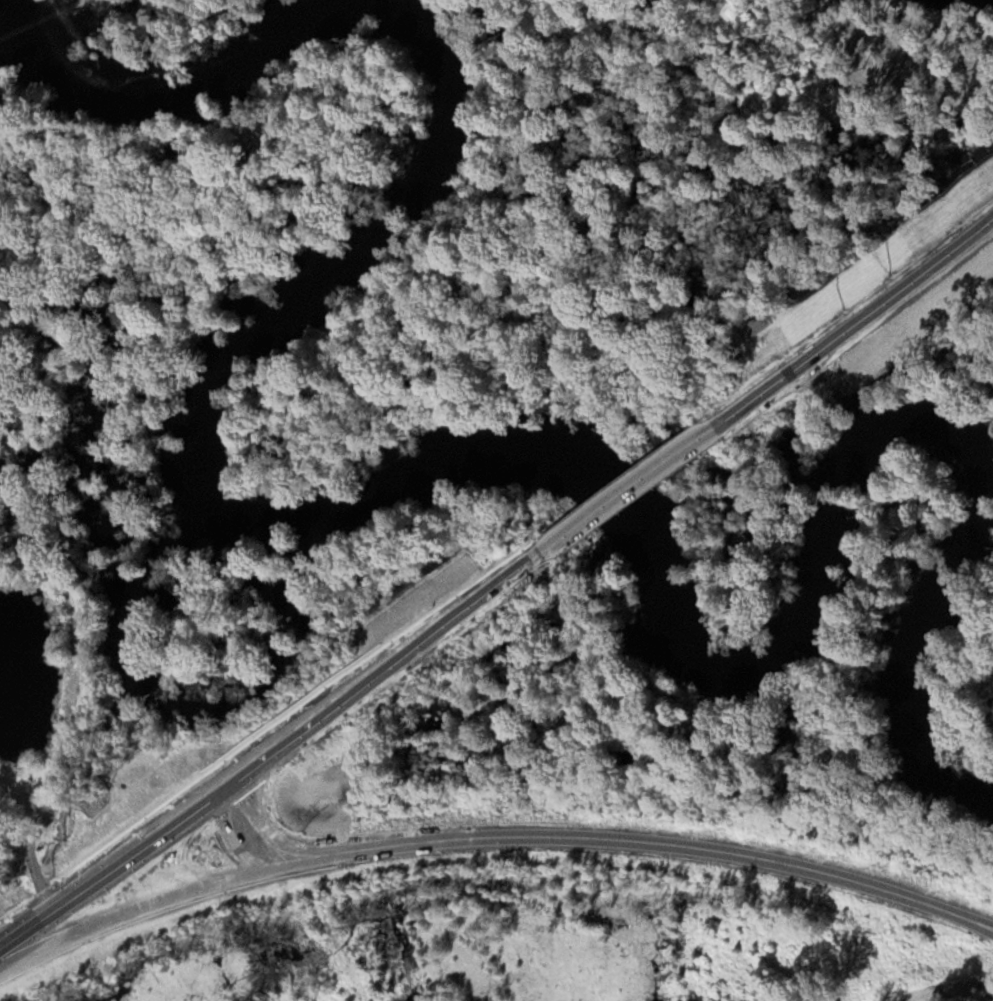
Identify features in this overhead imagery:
road: (853, 324)
road: (624, 488)
road: (272, 751)
road: (273, 835)
road: (228, 836)
road: (671, 845)
road: (167, 896)
building: (972, 991)

